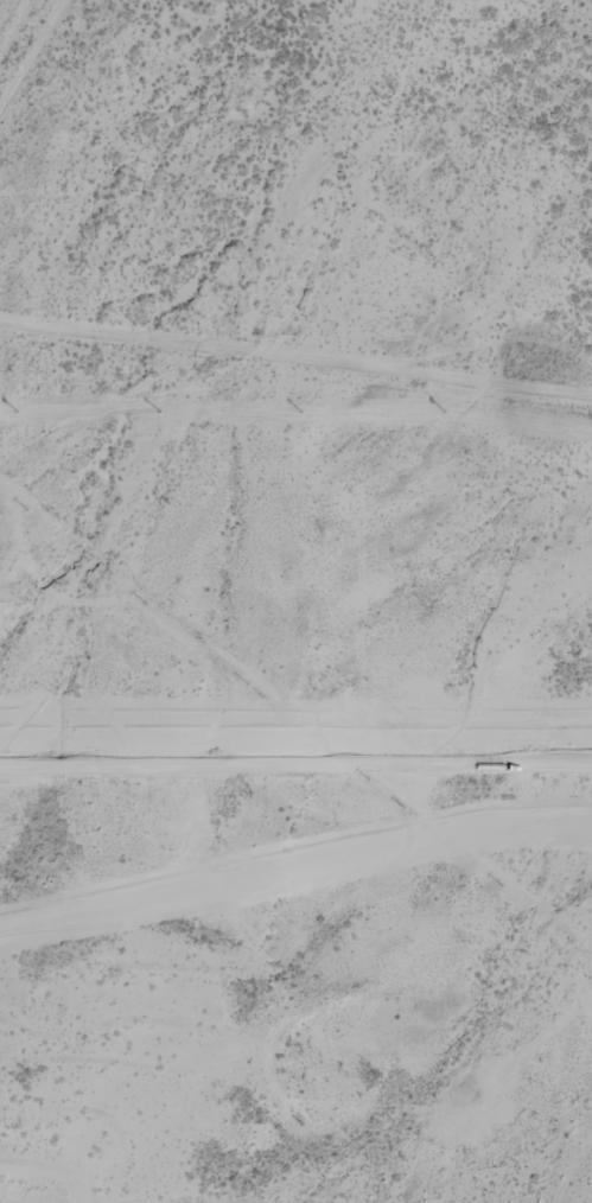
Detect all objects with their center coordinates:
road: (295, 781)

